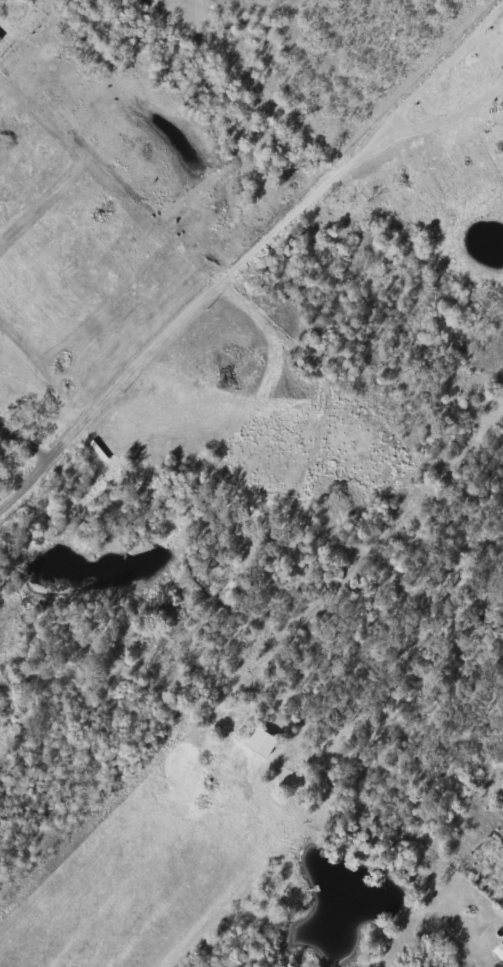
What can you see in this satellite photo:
road: (241, 258)
road: (25, 433)
building: (262, 744)
road: (230, 891)

